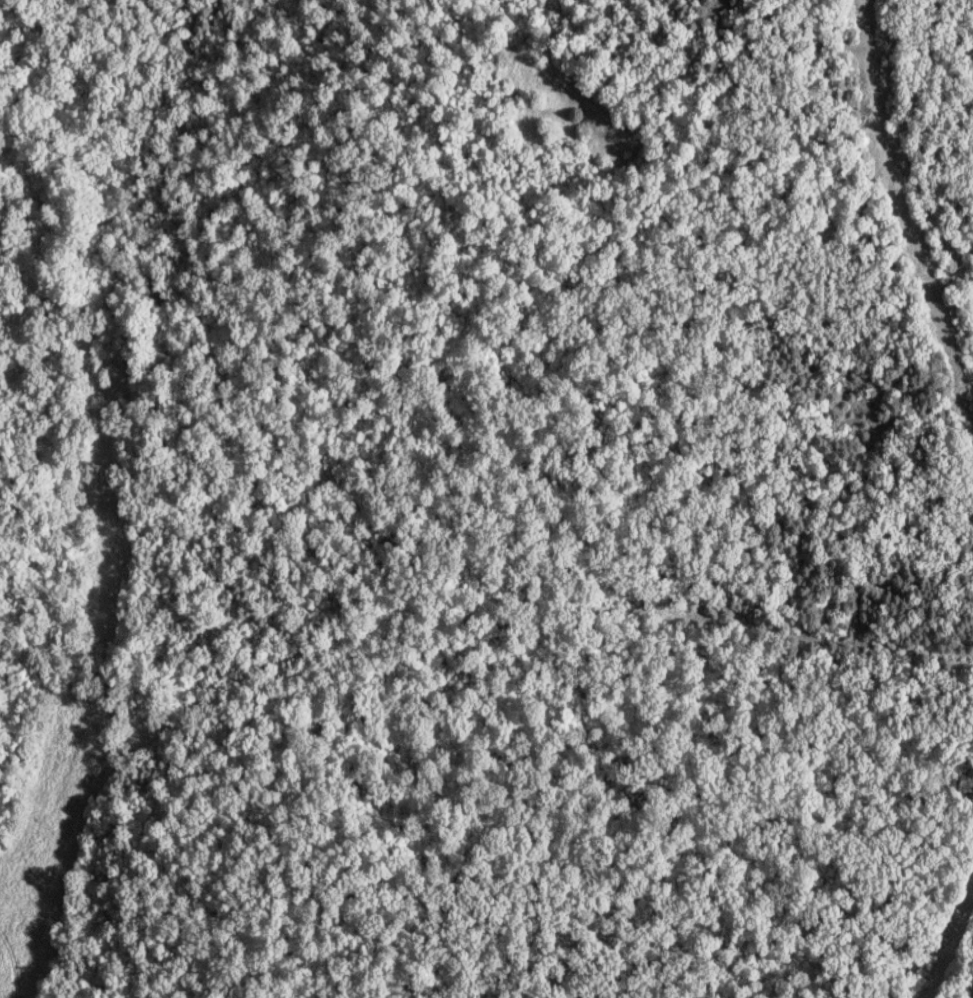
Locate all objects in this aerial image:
road: (911, 133)
road: (936, 951)

